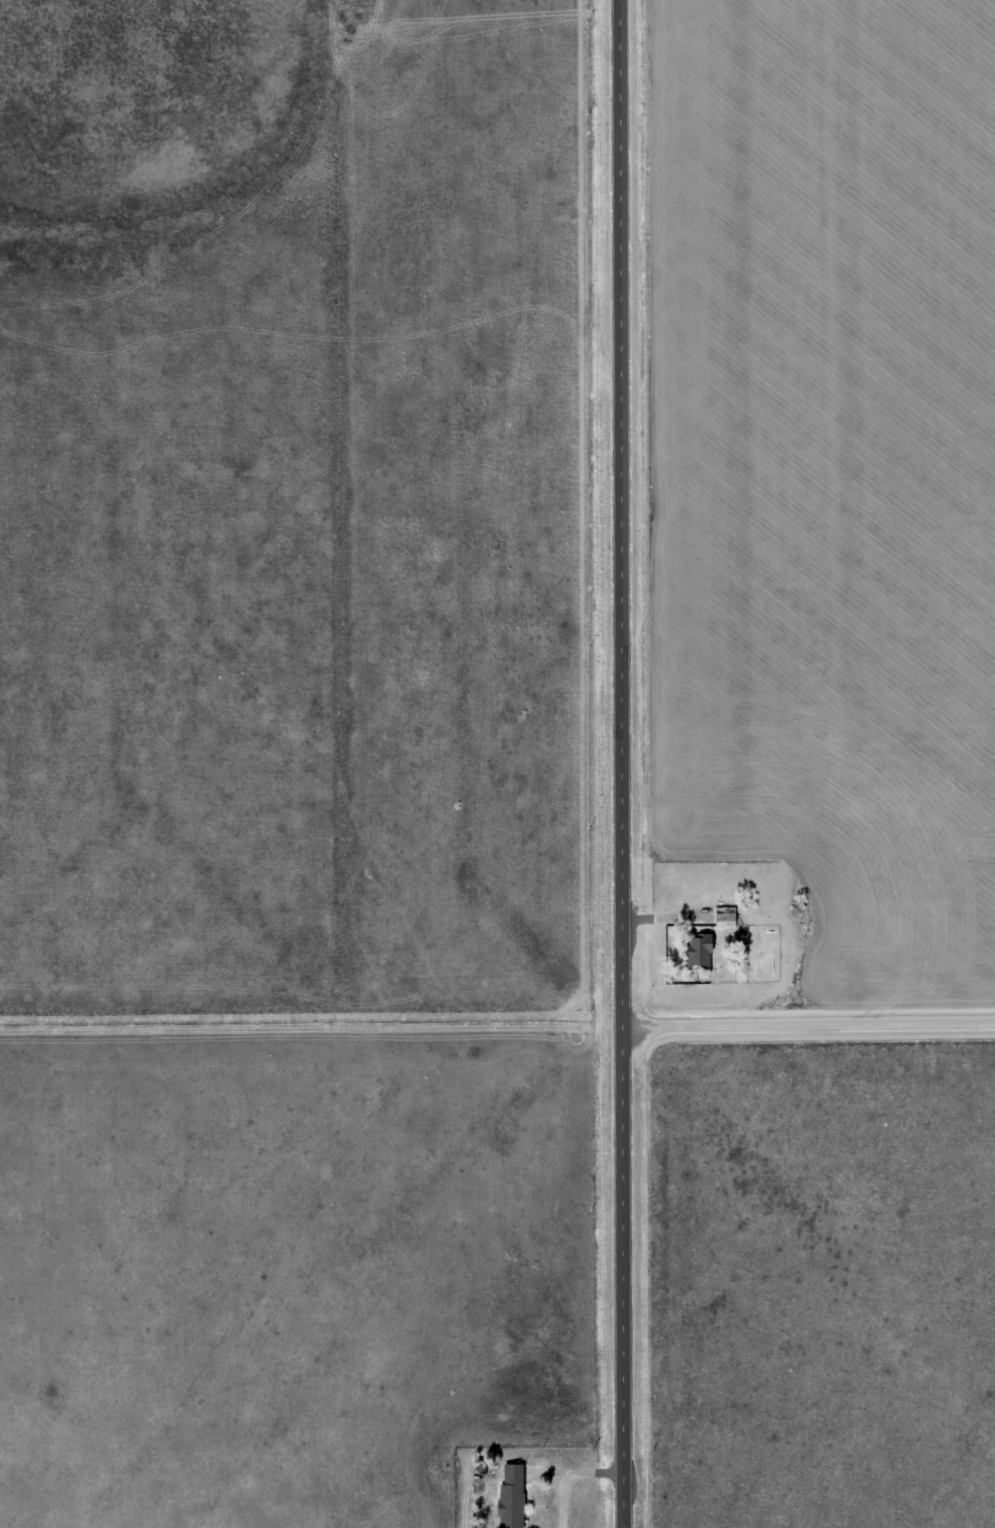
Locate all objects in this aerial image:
road: (623, 763)
building: (722, 917)
building: (695, 951)
road: (809, 1037)
building: (507, 1495)

